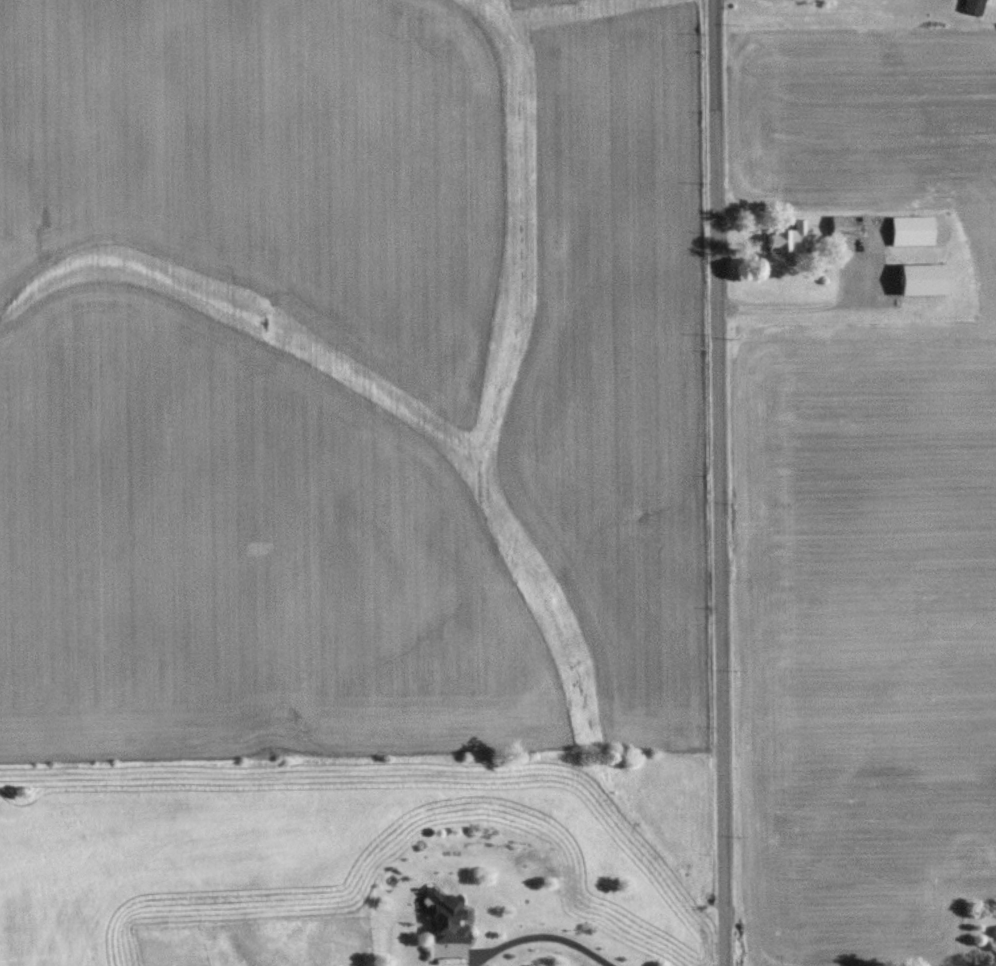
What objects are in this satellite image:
building: (973, 6)
building: (840, 226)
building: (912, 230)
building: (920, 278)
road: (819, 308)
road: (719, 483)
building: (447, 917)
road: (541, 929)

